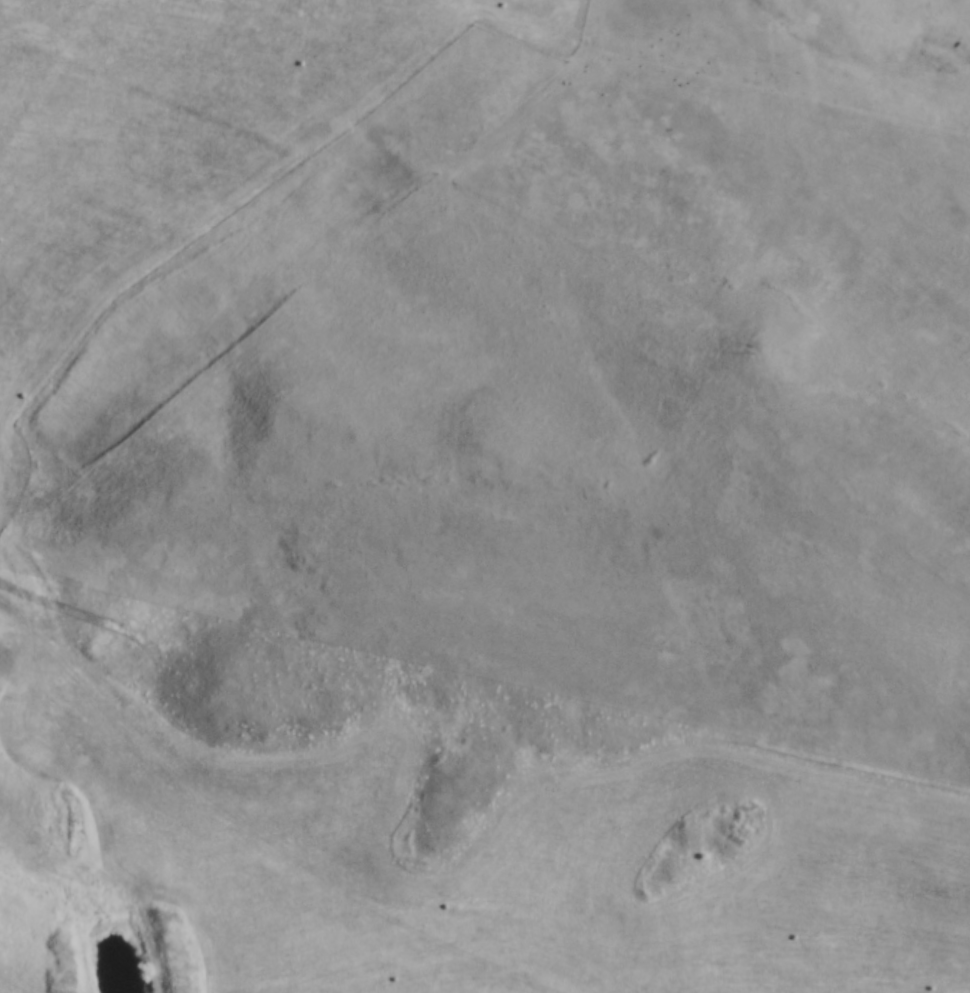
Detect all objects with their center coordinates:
road: (484, 121)

